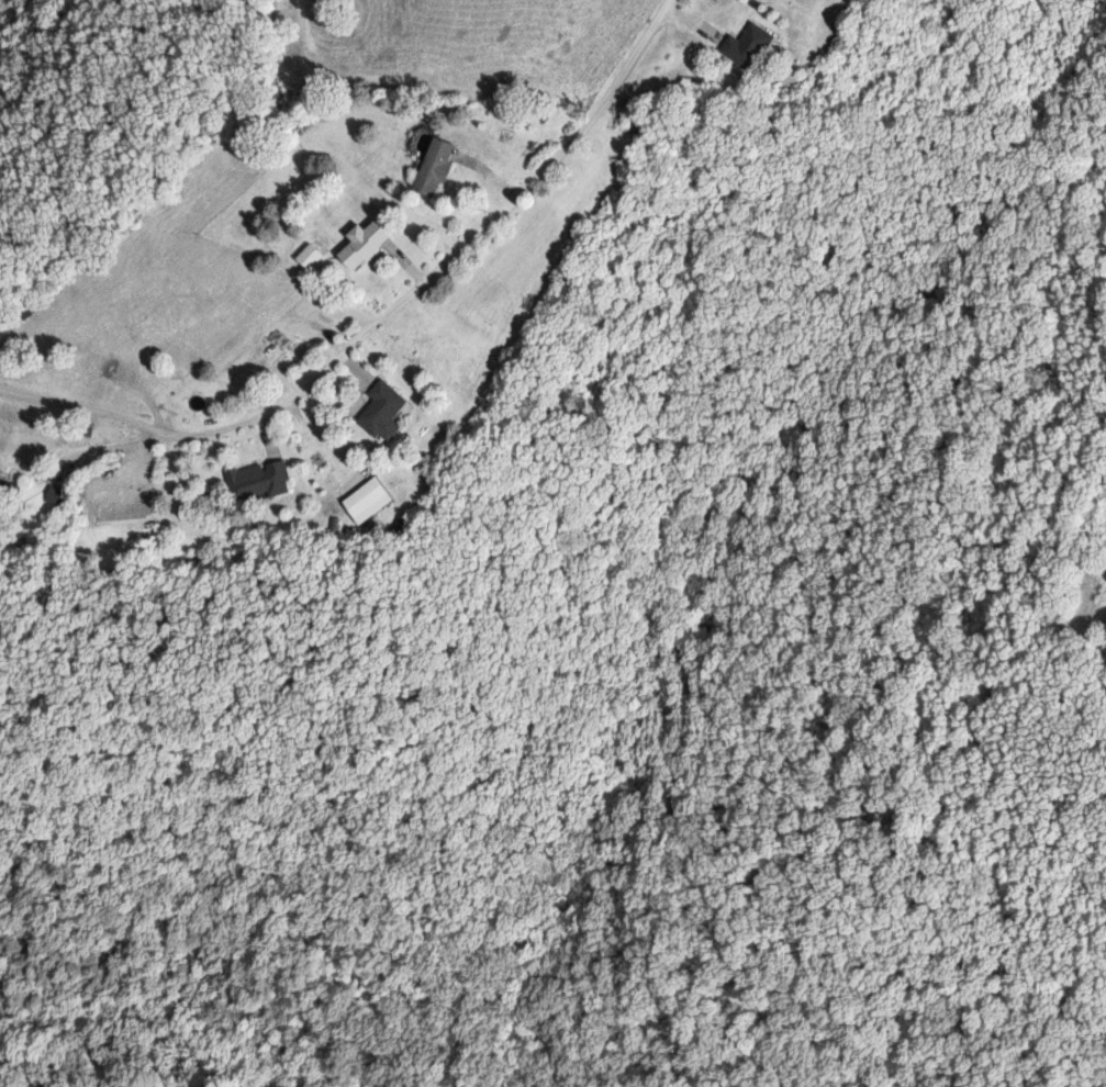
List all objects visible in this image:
building: (748, 46)
building: (437, 167)
building: (367, 244)
road: (406, 250)
building: (312, 257)
road: (398, 291)
road: (85, 406)
building: (382, 411)
road: (324, 427)
building: (257, 482)
building: (8, 491)
building: (56, 495)
building: (367, 501)

